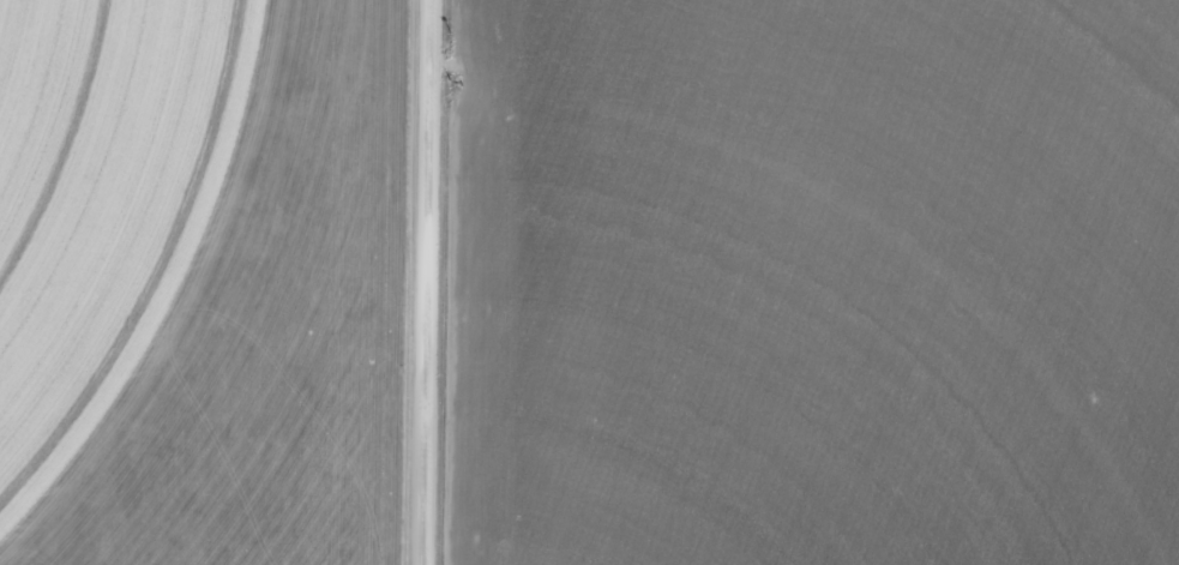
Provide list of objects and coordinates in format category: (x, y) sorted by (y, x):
road: (432, 282)

